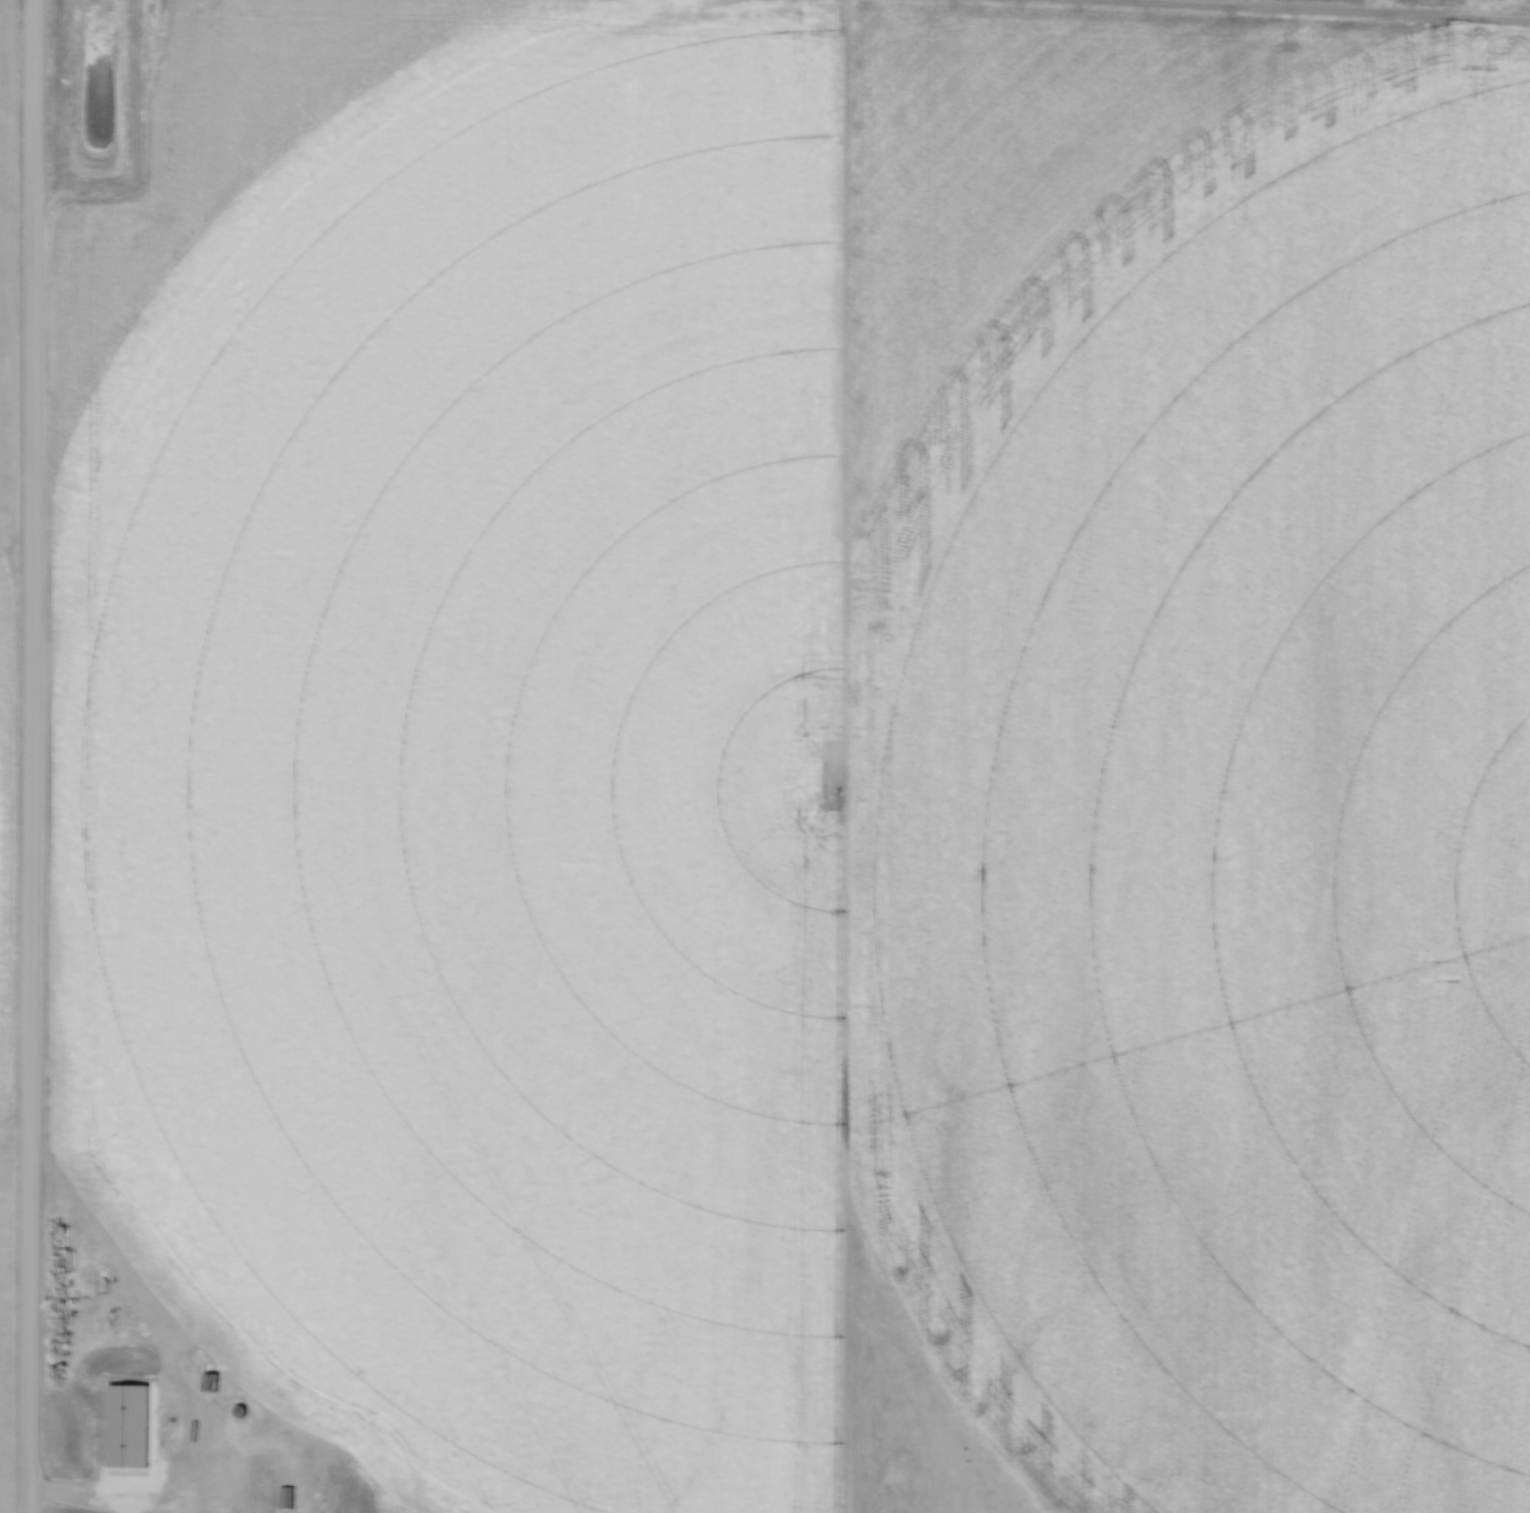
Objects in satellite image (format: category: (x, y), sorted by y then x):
crop: (7, 705)
crop: (809, 740)
road: (31, 756)
building: (66, 1260)
building: (211, 1380)
building: (239, 1411)
silo: (239, 1411)
road: (192, 1421)
building: (284, 1497)
road: (301, 1499)

